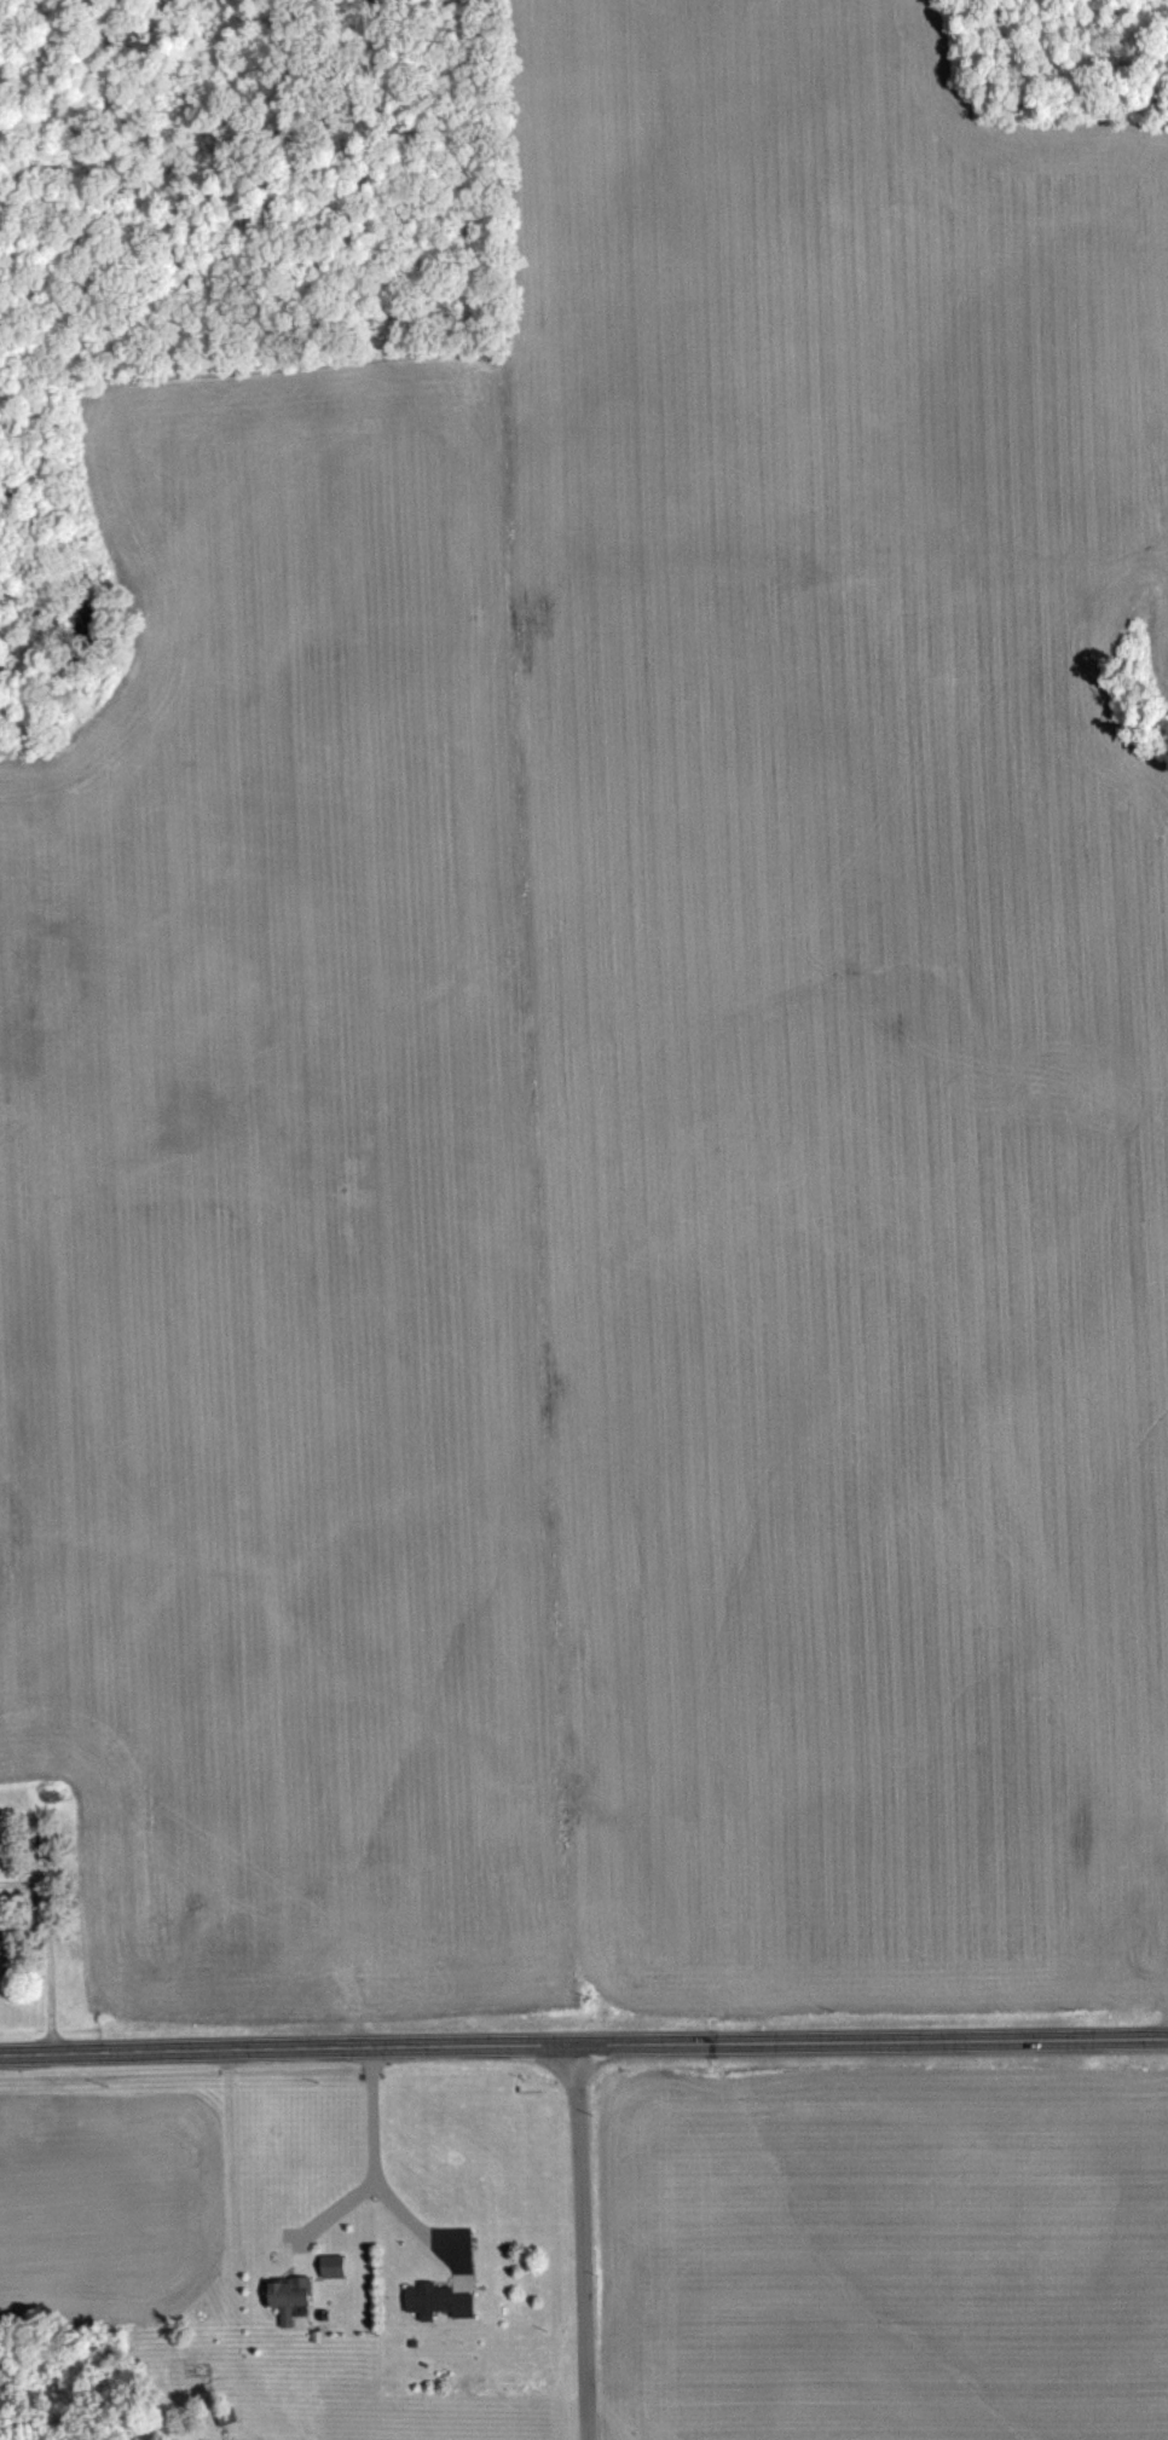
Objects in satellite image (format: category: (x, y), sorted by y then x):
road: (53, 1953)
road: (583, 2045)
road: (372, 2178)
road: (329, 2220)
road: (590, 2242)
building: (329, 2265)
building: (287, 2296)
building: (435, 2301)

